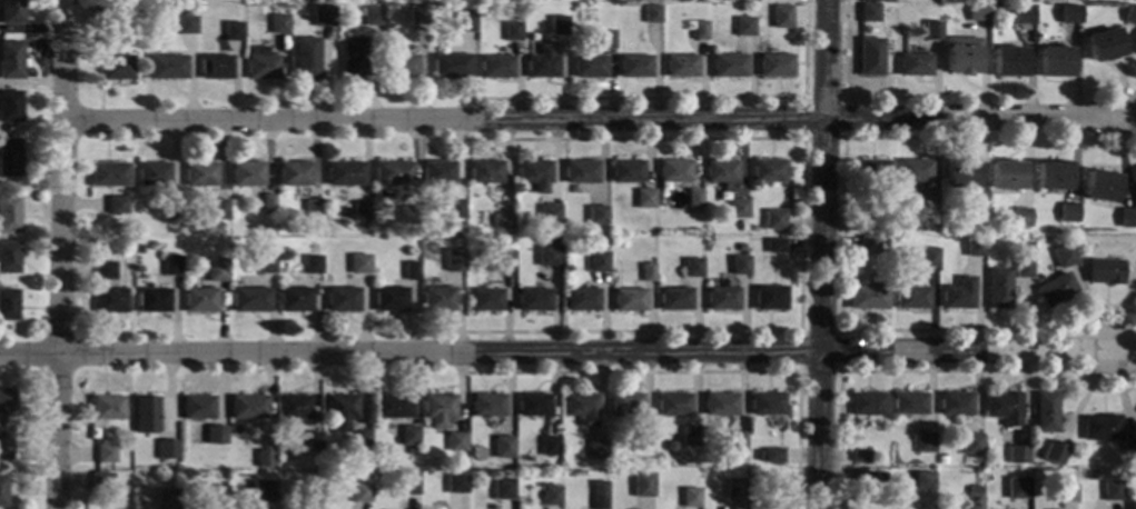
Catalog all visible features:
building: (870, 0)
building: (11, 11)
building: (978, 11)
building: (868, 12)
building: (108, 13)
building: (417, 13)
building: (652, 13)
building: (1023, 13)
building: (1070, 13)
building: (1129, 13)
building: (324, 14)
building: (373, 14)
building: (781, 16)
building: (465, 21)
building: (187, 23)
building: (279, 23)
building: (744, 26)
building: (700, 29)
building: (932, 29)
building: (233, 30)
building: (512, 30)
building: (557, 32)
building: (607, 39)
building: (910, 41)
building: (1103, 43)
building: (961, 54)
building: (870, 56)
building: (354, 57)
building: (307, 58)
building: (10, 59)
building: (1054, 60)
building: (1008, 61)
building: (542, 62)
building: (261, 63)
building: (915, 63)
building: (451, 64)
building: (634, 64)
building: (681, 64)
building: (729, 64)
building: (776, 64)
building: (166, 66)
building: (215, 66)
building: (402, 66)
building: (496, 66)
building: (589, 66)
building: (117, 67)
road: (843, 92)
road: (684, 97)
building: (10, 106)
road: (587, 118)
road: (1124, 126)
road: (842, 139)
building: (10, 157)
building: (913, 169)
building: (580, 170)
building: (625, 170)
building: (673, 170)
building: (768, 170)
building: (872, 170)
building: (485, 171)
building: (152, 172)
building: (200, 172)
building: (247, 172)
building: (295, 172)
building: (345, 172)
building: (393, 172)
building: (437, 172)
building: (722, 172)
building: (108, 173)
building: (534, 173)
building: (959, 173)
building: (1006, 174)
building: (1051, 174)
building: (1135, 177)
building: (1099, 184)
building: (693, 197)
building: (644, 198)
building: (268, 202)
building: (117, 203)
building: (327, 203)
building: (172, 207)
building: (218, 208)
building: (313, 208)
building: (454, 208)
building: (737, 208)
building: (360, 210)
building: (184, 212)
building: (1069, 212)
building: (9, 213)
building: (549, 213)
building: (407, 214)
building: (596, 214)
building: (1020, 217)
building: (1128, 217)
building: (773, 219)
building: (927, 220)
building: (868, 221)
building: (972, 221)
building: (315, 223)
building: (500, 223)
building: (741, 224)
road: (800, 233)
building: (1074, 239)
building: (504, 241)
building: (602, 241)
building: (129, 243)
building: (774, 244)
building: (868, 244)
building: (740, 246)
building: (975, 246)
building: (139, 247)
road: (61, 255)
road: (821, 255)
building: (1064, 255)
building: (547, 256)
building: (929, 256)
building: (9, 257)
building: (501, 257)
building: (454, 259)
building: (597, 261)
building: (265, 262)
building: (359, 262)
building: (313, 263)
building: (171, 265)
building: (738, 265)
building: (1023, 266)
building: (692, 267)
building: (105, 269)
building: (217, 269)
building: (409, 270)
building: (1105, 270)
building: (646, 271)
building: (1037, 280)
building: (998, 287)
building: (1055, 290)
building: (958, 293)
building: (769, 297)
building: (867, 297)
building: (911, 297)
building: (342, 298)
building: (389, 298)
building: (674, 298)
building: (721, 298)
building: (154, 299)
building: (200, 299)
building: (251, 299)
building: (296, 299)
building: (437, 299)
building: (485, 299)
building: (533, 299)
building: (581, 299)
building: (629, 299)
building: (110, 300)
building: (8, 303)
road: (838, 330)
road: (851, 330)
road: (557, 352)
road: (699, 371)
road: (923, 371)
building: (7, 399)
building: (909, 402)
building: (955, 402)
building: (533, 403)
building: (626, 403)
building: (673, 403)
building: (719, 403)
building: (767, 403)
building: (867, 403)
building: (487, 405)
building: (248, 406)
building: (294, 406)
building: (393, 406)
building: (107, 407)
building: (198, 407)
building: (1004, 407)
building: (582, 408)
building: (438, 409)
building: (342, 410)
building: (1046, 411)
building: (146, 413)
building: (1102, 427)
building: (216, 433)
building: (409, 435)
building: (689, 435)
building: (642, 439)
building: (315, 440)
building: (363, 440)
building: (735, 440)
building: (456, 441)
building: (502, 441)
building: (4, 442)
building: (925, 442)
building: (971, 443)
building: (1127, 445)
building: (549, 446)
building: (669, 446)
building: (596, 449)
building: (411, 450)
building: (105, 452)
building: (167, 452)
building: (1055, 452)
building: (1018, 453)
building: (758, 455)
building: (773, 455)
building: (861, 456)
building: (363, 457)
building: (265, 458)
building: (941, 458)
building: (1133, 472)
building: (881, 476)
building: (863, 479)
building: (922, 480)
building: (100, 481)
building: (456, 482)
building: (408, 483)
building: (642, 483)
building: (908, 485)
building: (734, 486)
building: (1017, 487)
building: (502, 488)
building: (2, 490)
building: (263, 490)
building: (1112, 490)
building: (360, 491)
building: (1065, 491)
building: (550, 493)
building: (215, 495)
building: (312, 495)
building: (975, 496)
building: (166, 497)
building: (689, 497)
building: (599, 500)
building: (767, 505)
building: (1132, 505)

